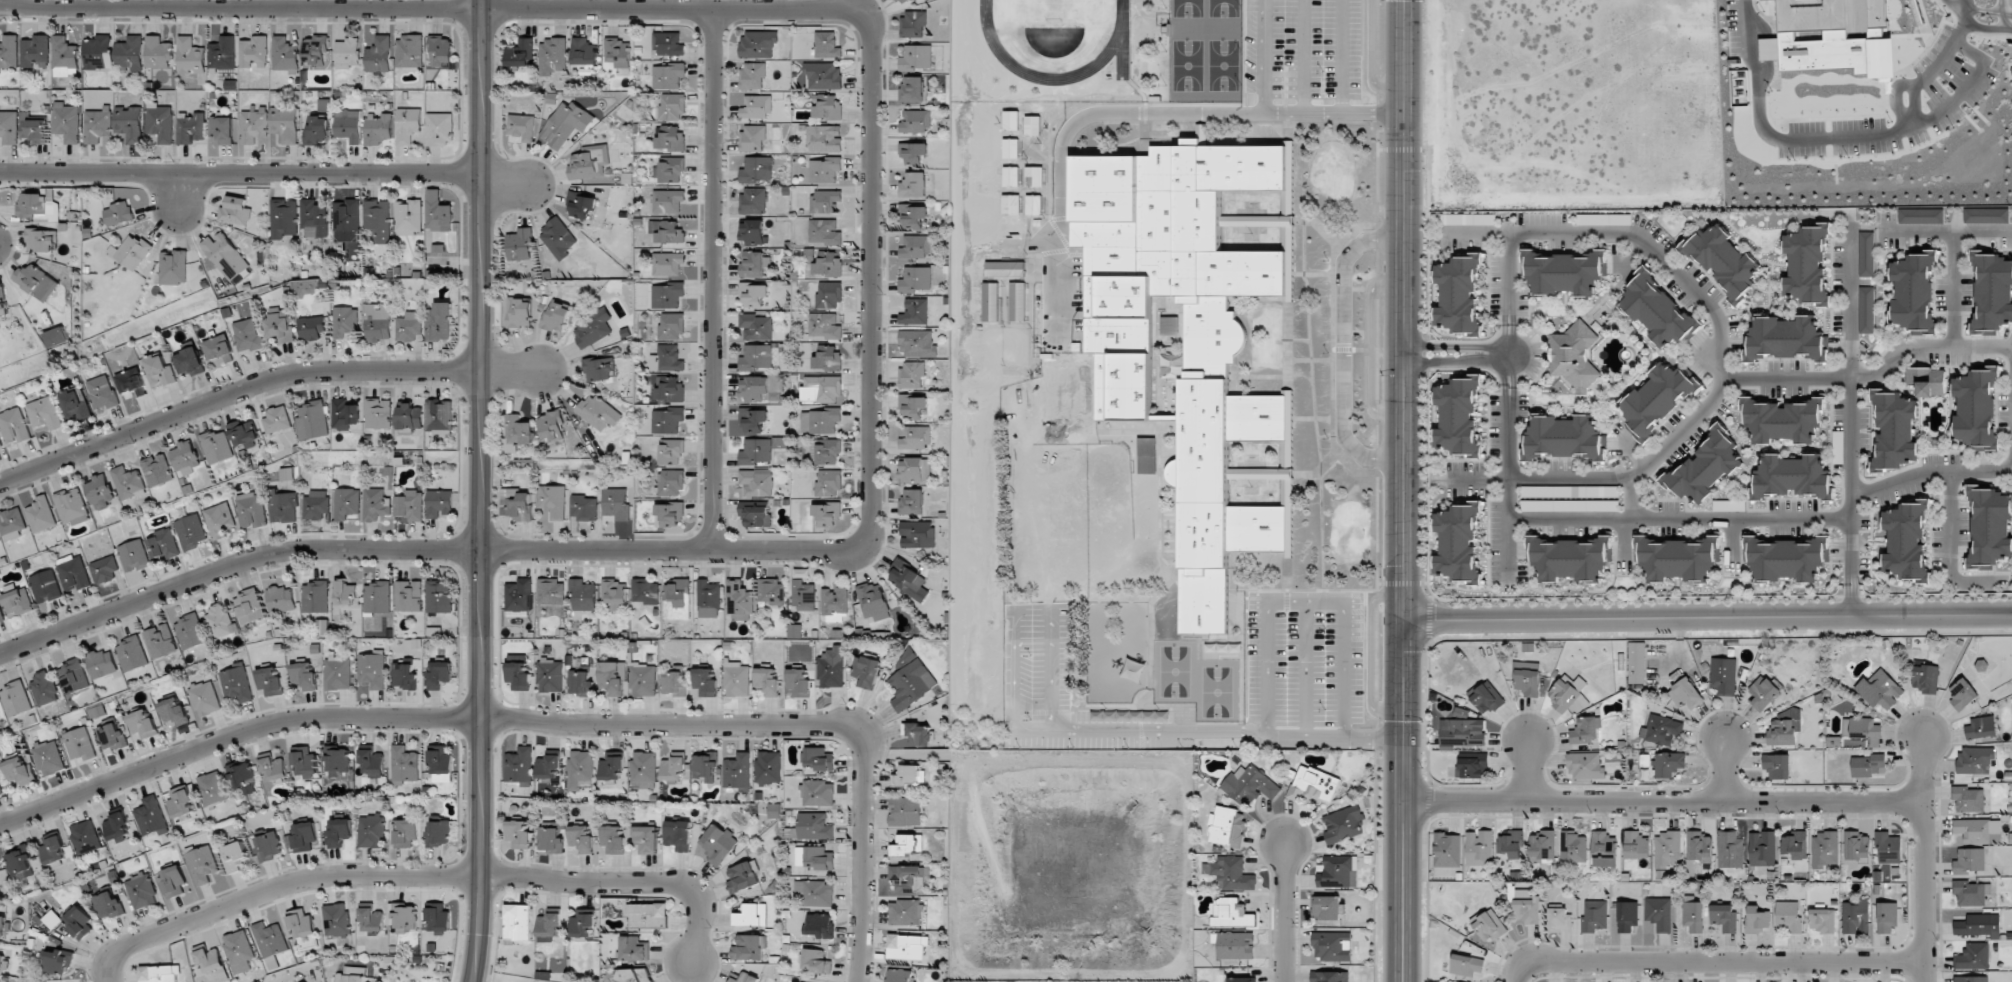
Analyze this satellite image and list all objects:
building: (901, 2)
road: (1965, 6)
road: (2004, 7)
building: (1831, 15)
road: (1967, 15)
road: (2005, 22)
building: (913, 24)
building: (668, 43)
building: (758, 43)
building: (826, 44)
building: (9, 51)
building: (35, 51)
building: (409, 51)
building: (441, 51)
building: (583, 51)
building: (98, 52)
building: (254, 52)
building: (316, 52)
building: (618, 52)
building: (158, 53)
building: (222, 53)
building: (347, 53)
building: (520, 53)
building: (284, 54)
building: (380, 54)
building: (129, 55)
building: (190, 56)
building: (553, 56)
building: (64, 57)
building: (916, 57)
building: (668, 75)
building: (752, 75)
building: (823, 75)
building: (912, 89)
building: (672, 107)
building: (755, 107)
building: (827, 107)
building: (1011, 120)
building: (915, 121)
building: (66, 122)
building: (160, 122)
building: (129, 123)
building: (285, 124)
building: (566, 124)
building: (97, 125)
building: (348, 125)
building: (408, 125)
building: (1032, 125)
building: (9, 126)
building: (253, 126)
building: (190, 127)
building: (521, 127)
building: (378, 128)
building: (439, 129)
building: (35, 130)
building: (223, 130)
building: (317, 131)
building: (669, 138)
building: (754, 138)
building: (824, 138)
building: (1011, 148)
building: (913, 152)
building: (589, 162)
building: (670, 169)
building: (757, 169)
building: (825, 170)
road: (240, 173)
building: (1011, 176)
building: (1034, 176)
road: (506, 179)
building: (913, 185)
building: (753, 200)
building: (667, 201)
building: (825, 201)
building: (1011, 204)
building: (581, 205)
building: (1034, 205)
building: (38, 207)
building: (235, 211)
building: (438, 212)
building: (118, 213)
building: (346, 215)
building: (1986, 215)
building: (409, 216)
building: (913, 216)
building: (1920, 216)
building: (315, 218)
building: (284, 219)
building: (378, 219)
building: (1468, 219)
building: (1603, 219)
road: (1947, 230)
building: (666, 231)
building: (752, 232)
building: (824, 232)
building: (557, 239)
building: (40, 240)
building: (519, 244)
building: (917, 246)
building: (131, 251)
building: (1866, 253)
building: (226, 257)
building: (1722, 261)
building: (825, 262)
building: (667, 263)
building: (753, 263)
building: (1807, 265)
building: (173, 267)
building: (1005, 269)
building: (1564, 272)
building: (916, 279)
road: (714, 280)
building: (36, 281)
road: (873, 288)
road: (1953, 288)
building: (1914, 291)
building: (1991, 292)
building: (753, 294)
building: (829, 294)
building: (1458, 294)
building: (667, 295)
building: (2, 300)
building: (1017, 301)
road: (1848, 301)
building: (990, 302)
road: (1405, 310)
building: (1866, 310)
building: (1658, 311)
building: (915, 312)
building: (519, 313)
building: (556, 316)
building: (344, 321)
building: (440, 322)
building: (376, 323)
building: (280, 324)
building: (671, 326)
building: (757, 326)
building: (824, 326)
building: (408, 327)
building: (593, 327)
building: (311, 328)
building: (248, 335)
building: (55, 337)
building: (1786, 338)
building: (918, 344)
road: (1445, 344)
road: (1926, 346)
road: (1343, 350)
road: (1368, 350)
road: (1532, 356)
building: (1574, 356)
building: (756, 357)
building: (827, 357)
building: (666, 359)
road: (1718, 360)
building: (190, 362)
road: (1445, 362)
building: (159, 369)
building: (599, 369)
road: (513, 371)
building: (911, 374)
building: (131, 381)
building: (1927, 381)
building: (669, 388)
building: (760, 388)
building: (822, 389)
building: (102, 392)
road: (233, 392)
building: (1656, 398)
building: (912, 404)
building: (75, 405)
building: (1976, 407)
building: (597, 412)
building: (44, 413)
building: (344, 414)
building: (378, 414)
building: (1458, 415)
building: (410, 416)
building: (439, 416)
building: (277, 420)
building: (667, 420)
building: (753, 420)
building: (820, 420)
building: (1783, 420)
building: (312, 421)
building: (14, 425)
building: (551, 425)
building: (1894, 430)
road: (1849, 431)
building: (518, 432)
building: (244, 433)
building: (915, 437)
building: (1564, 438)
building: (780, 442)
building: (1837, 443)
building: (1, 444)
building: (217, 446)
building: (671, 451)
building: (756, 451)
building: (829, 452)
building: (1147, 455)
building: (186, 457)
building: (1705, 467)
building: (910, 469)
building: (157, 470)
road: (1931, 472)
building: (287, 474)
building: (671, 482)
building: (756, 482)
building: (129, 483)
building: (828, 483)
building: (100, 491)
road: (480, 491)
building: (1569, 491)
building: (552, 501)
building: (911, 502)
building: (438, 503)
building: (615, 503)
building: (346, 504)
building: (315, 505)
building: (376, 505)
building: (518, 505)
building: (1569, 505)
building: (283, 506)
building: (409, 507)
building: (583, 507)
building: (251, 510)
building: (828, 513)
building: (669, 514)
building: (756, 514)
building: (41, 515)
road: (1659, 519)
building: (219, 520)
building: (11, 523)
building: (1988, 526)
building: (190, 531)
building: (916, 534)
building: (1906, 541)
building: (1458, 542)
building: (163, 544)
road: (1949, 544)
building: (134, 555)
building: (1570, 557)
building: (1677, 557)
building: (1785, 558)
building: (104, 569)
building: (73, 572)
building: (908, 580)
building: (45, 586)
building: (645, 591)
building: (771, 591)
building: (551, 592)
building: (345, 593)
building: (614, 594)
building: (518, 595)
building: (582, 595)
building: (377, 596)
building: (408, 596)
building: (315, 597)
building: (439, 597)
building: (803, 597)
building: (16, 599)
building: (708, 599)
building: (280, 600)
building: (677, 600)
building: (738, 600)
building: (834, 605)
building: (249, 606)
building: (1, 616)
road: (1708, 617)
building: (220, 620)
building: (190, 632)
building: (161, 641)
building: (132, 654)
building: (1637, 662)
building: (102, 663)
building: (1981, 666)
building: (831, 668)
building: (866, 671)
building: (338, 673)
building: (439, 674)
building: (550, 675)
building: (1723, 675)
building: (74, 676)
building: (404, 676)
building: (518, 676)
building: (304, 677)
building: (612, 677)
building: (1527, 678)
building: (1926, 678)
building: (643, 679)
building: (737, 679)
building: (911, 680)
building: (270, 681)
building: (581, 681)
building: (705, 681)
building: (767, 681)
building: (799, 682)
building: (236, 683)
building: (674, 683)
building: (44, 689)
building: (1884, 689)
building: (1762, 693)
building: (1685, 694)
building: (1962, 694)
building: (1568, 695)
building: (1486, 697)
building: (204, 698)
building: (15, 699)
building: (173, 712)
building: (0, 719)
building: (142, 723)
road: (544, 724)
building: (1981, 727)
building: (1783, 729)
building: (1585, 730)
building: (1661, 730)
building: (1864, 730)
building: (918, 733)
building: (1461, 733)
building: (111, 737)
building: (79, 744)
building: (49, 757)
building: (819, 759)
building: (1975, 760)
building: (304, 761)
building: (338, 763)
building: (371, 763)
building: (1669, 763)
building: (440, 764)
building: (404, 765)
building: (611, 765)
building: (1585, 765)
building: (1777, 765)
building: (1868, 765)
building: (519, 766)
building: (548, 766)
building: (705, 766)
building: (1472, 766)
building: (768, 767)
building: (643, 768)
building: (672, 768)
road: (1527, 768)
road: (1726, 768)
building: (580, 769)
building: (737, 771)
building: (19, 772)
building: (908, 777)
building: (243, 778)
building: (1313, 784)
building: (1249, 785)
building: (212, 787)
building: (1, 790)
building: (818, 793)
building: (1967, 799)
road: (1403, 801)
road: (1663, 801)
building: (180, 802)
building: (773, 810)
building: (905, 811)
building: (151, 817)
building: (1342, 824)
building: (815, 826)
building: (118, 827)
building: (1226, 827)
building: (1973, 830)
building: (371, 831)
building: (406, 832)
building: (338, 833)
building: (439, 833)
building: (518, 833)
building: (678, 834)
building: (85, 836)
building: (304, 836)
building: (580, 838)
building: (550, 839)
building: (615, 839)
building: (646, 840)
building: (716, 844)
building: (1511, 844)
building: (907, 845)
building: (1542, 845)
building: (1635, 845)
building: (269, 846)
building: (1698, 846)
building: (1794, 846)
building: (1856, 846)
building: (1479, 848)
building: (1572, 848)
building: (1666, 848)
building: (1888, 848)
building: (53, 849)
building: (1603, 849)
building: (1762, 849)
building: (1825, 849)
building: (1447, 850)
building: (1730, 850)
building: (234, 856)
building: (816, 857)
road: (1925, 859)
building: (1969, 861)
building: (21, 863)
building: (202, 863)
building: (1695, 868)
building: (1337, 872)
building: (1230, 873)
road: (421, 876)
building: (743, 877)
building: (907, 877)
building: (172, 881)
building: (0, 886)
building: (142, 891)
building: (816, 893)
building: (1974, 893)
building: (109, 905)
building: (1327, 908)
building: (1527, 910)
building: (905, 912)
road: (1283, 912)
building: (1230, 913)
building: (1659, 913)
building: (648, 915)
building: (751, 915)
building: (1595, 915)
building: (1627, 916)
building: (1693, 916)
building: (1855, 916)
building: (438, 917)
building: (1723, 917)
building: (1788, 917)
building: (1886, 917)
building: (404, 918)
building: (1559, 918)
building: (336, 919)
building: (371, 920)
building: (1756, 920)
building: (1822, 920)
building: (79, 921)
building: (517, 923)
building: (583, 923)
building: (301, 924)
building: (819, 925)
building: (1978, 925)
building: (1489, 926)
building: (4, 927)
building: (549, 927)
building: (269, 939)
building: (1235, 945)
building: (1331, 946)
building: (748, 947)
building: (907, 947)
building: (634, 948)
building: (239, 951)
building: (1973, 956)
building: (59, 961)
building: (816, 961)
road: (1713, 961)
building: (1, 962)
building: (213, 965)
building: (1466, 965)
building: (159, 973)
building: (351, 974)
building: (635, 975)
building: (900, 975)
building: (1330, 976)
building: (745, 978)
building: (1241, 979)
building: (1970, 979)
building: (0, 981)
building: (798, 981)

